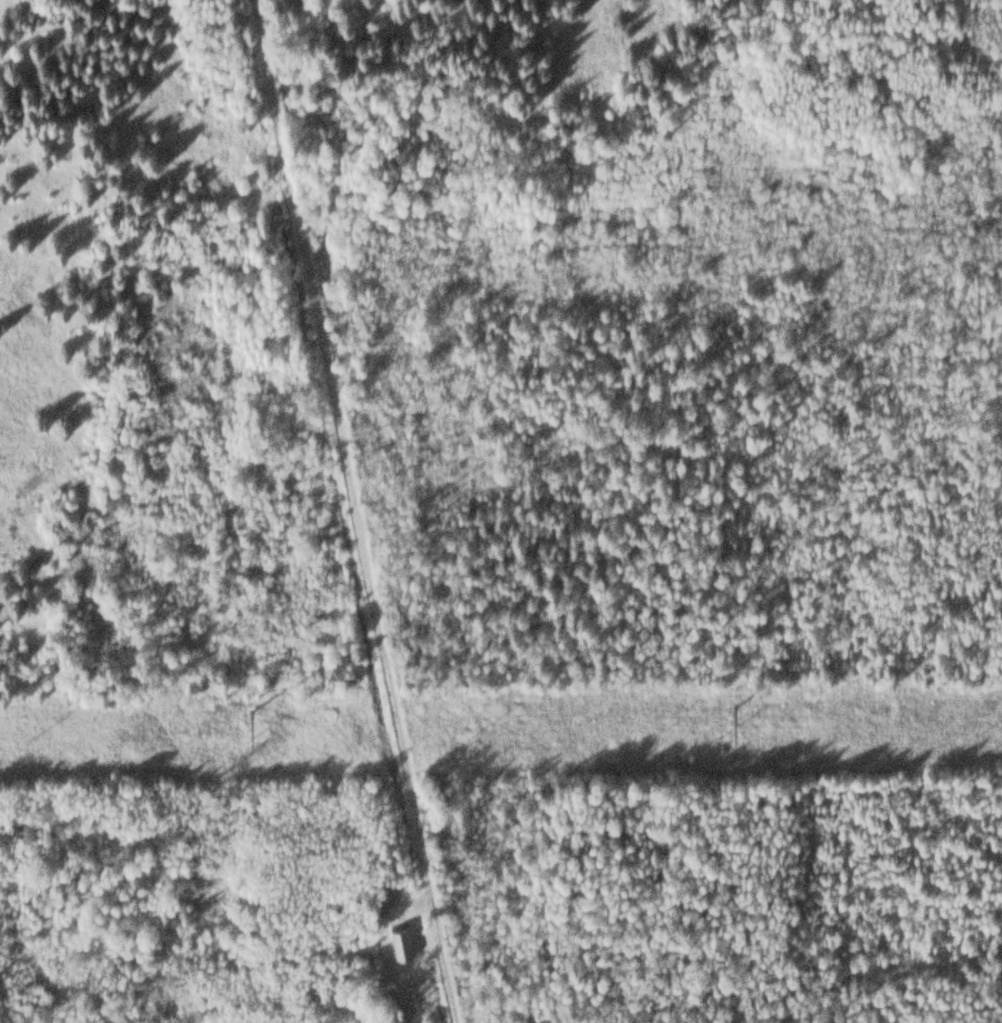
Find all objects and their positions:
road: (356, 511)
power tower: (714, 700)
power tower: (250, 702)
building: (399, 938)

